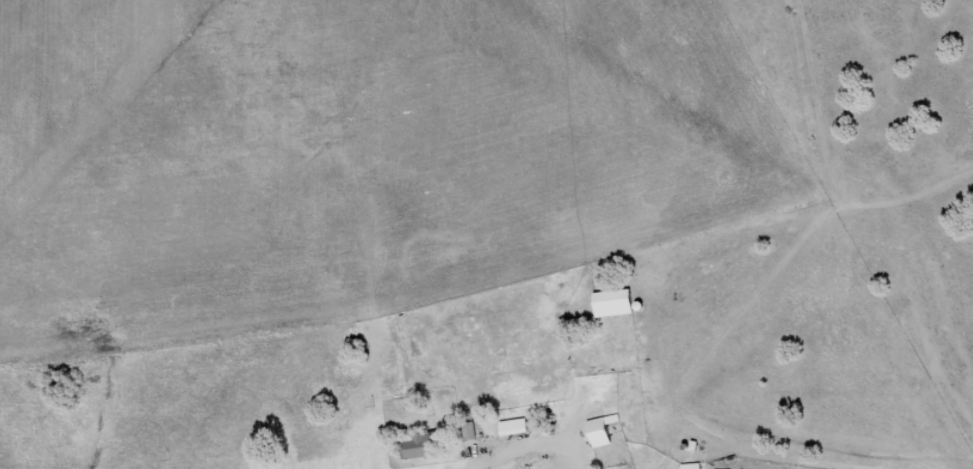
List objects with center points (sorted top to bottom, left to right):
road: (750, 250)
building: (614, 303)
road: (692, 404)
building: (514, 426)
building: (601, 431)
building: (423, 445)
building: (691, 466)

